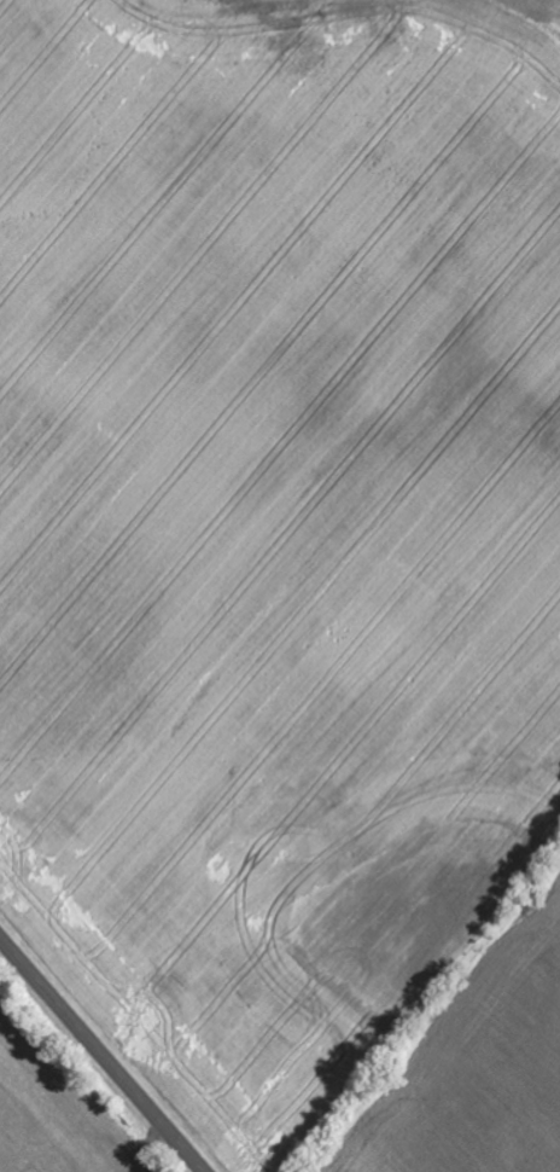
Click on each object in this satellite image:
road: (105, 1051)

